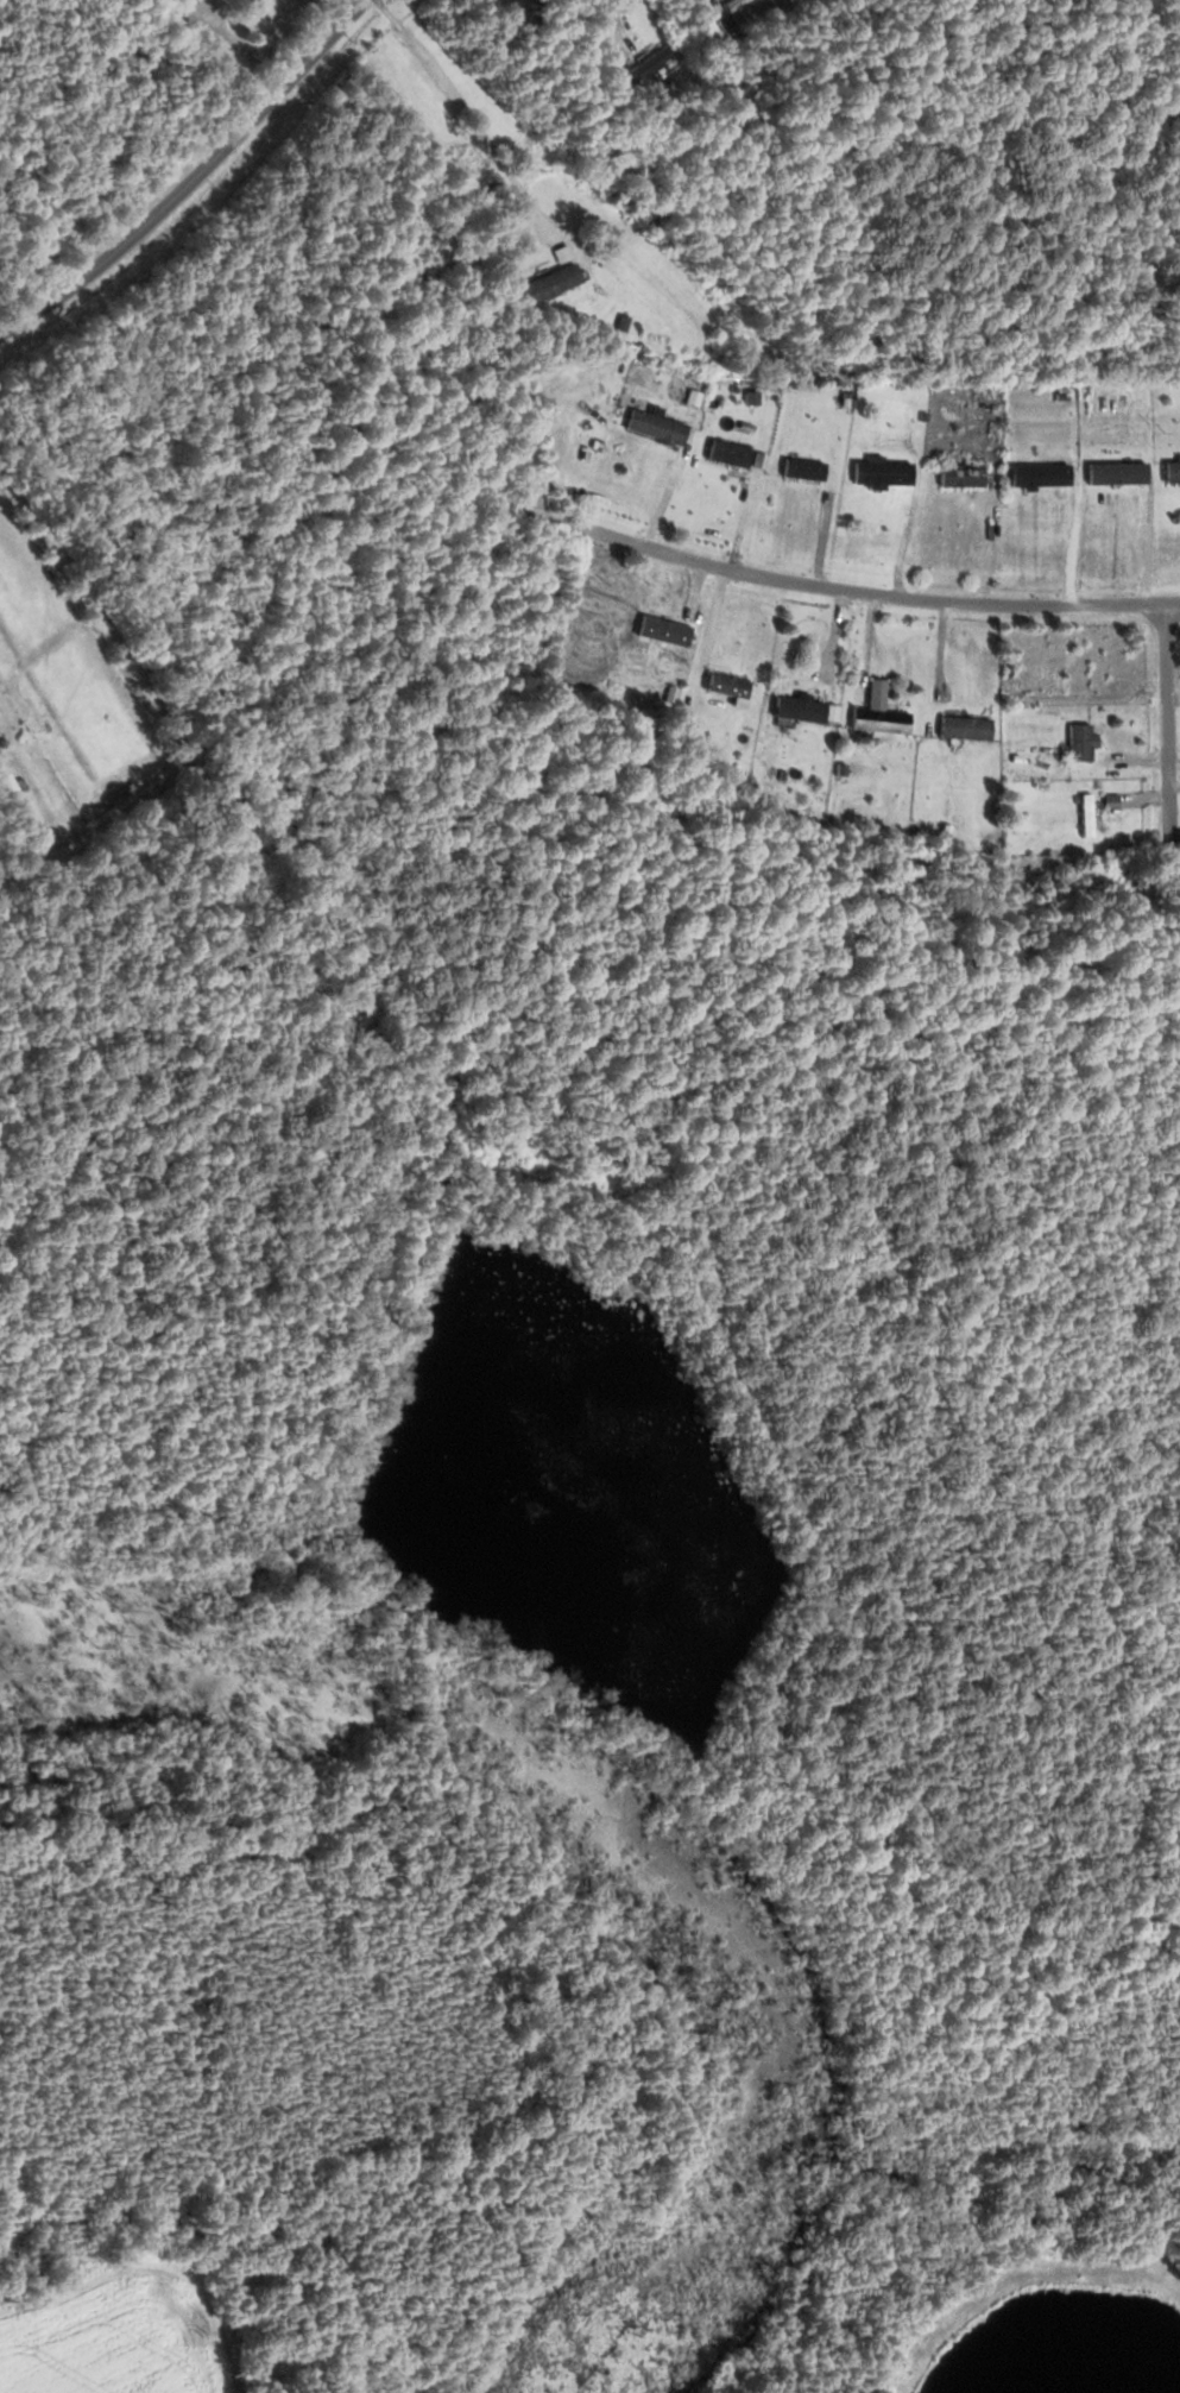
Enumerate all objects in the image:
building: (648, 67)
road: (195, 182)
building: (562, 253)
building: (550, 282)
building: (655, 427)
building: (728, 453)
building: (803, 468)
building: (1172, 471)
building: (883, 472)
building: (1116, 472)
building: (1040, 473)
building: (960, 474)
road: (835, 590)
building: (663, 630)
building: (1078, 666)
building: (726, 685)
building: (803, 709)
building: (879, 719)
building: (964, 726)
road: (1173, 731)
building: (1080, 741)
building: (15, 795)
building: (1086, 814)
road: (582, 1605)

